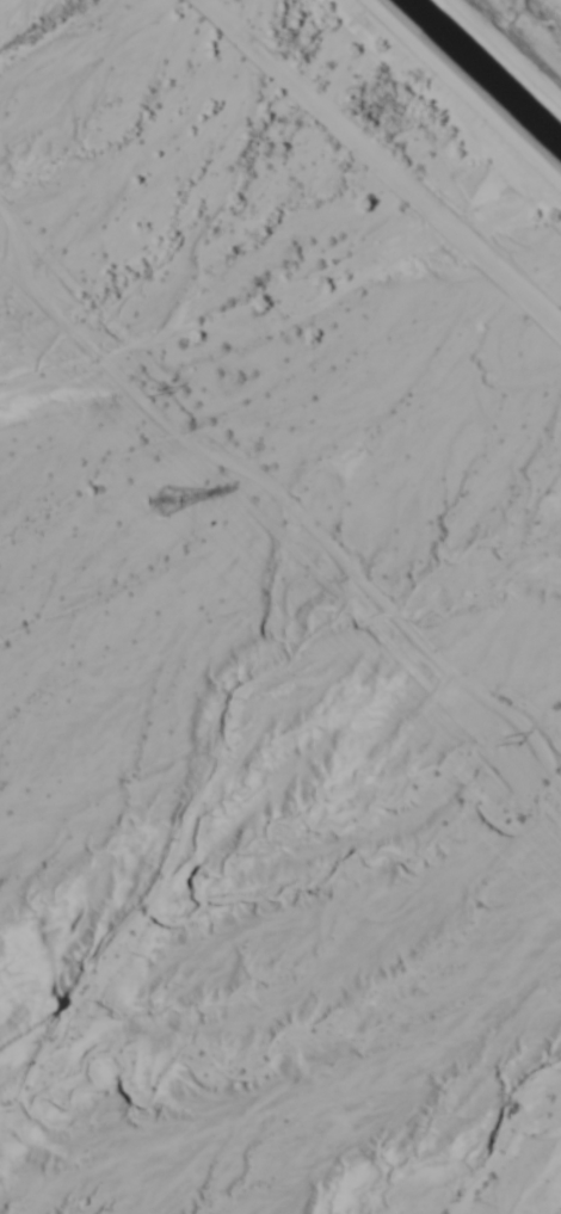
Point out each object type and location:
road: (392, 159)
power tower: (156, 394)
power tower: (168, 509)
power tower: (516, 752)

